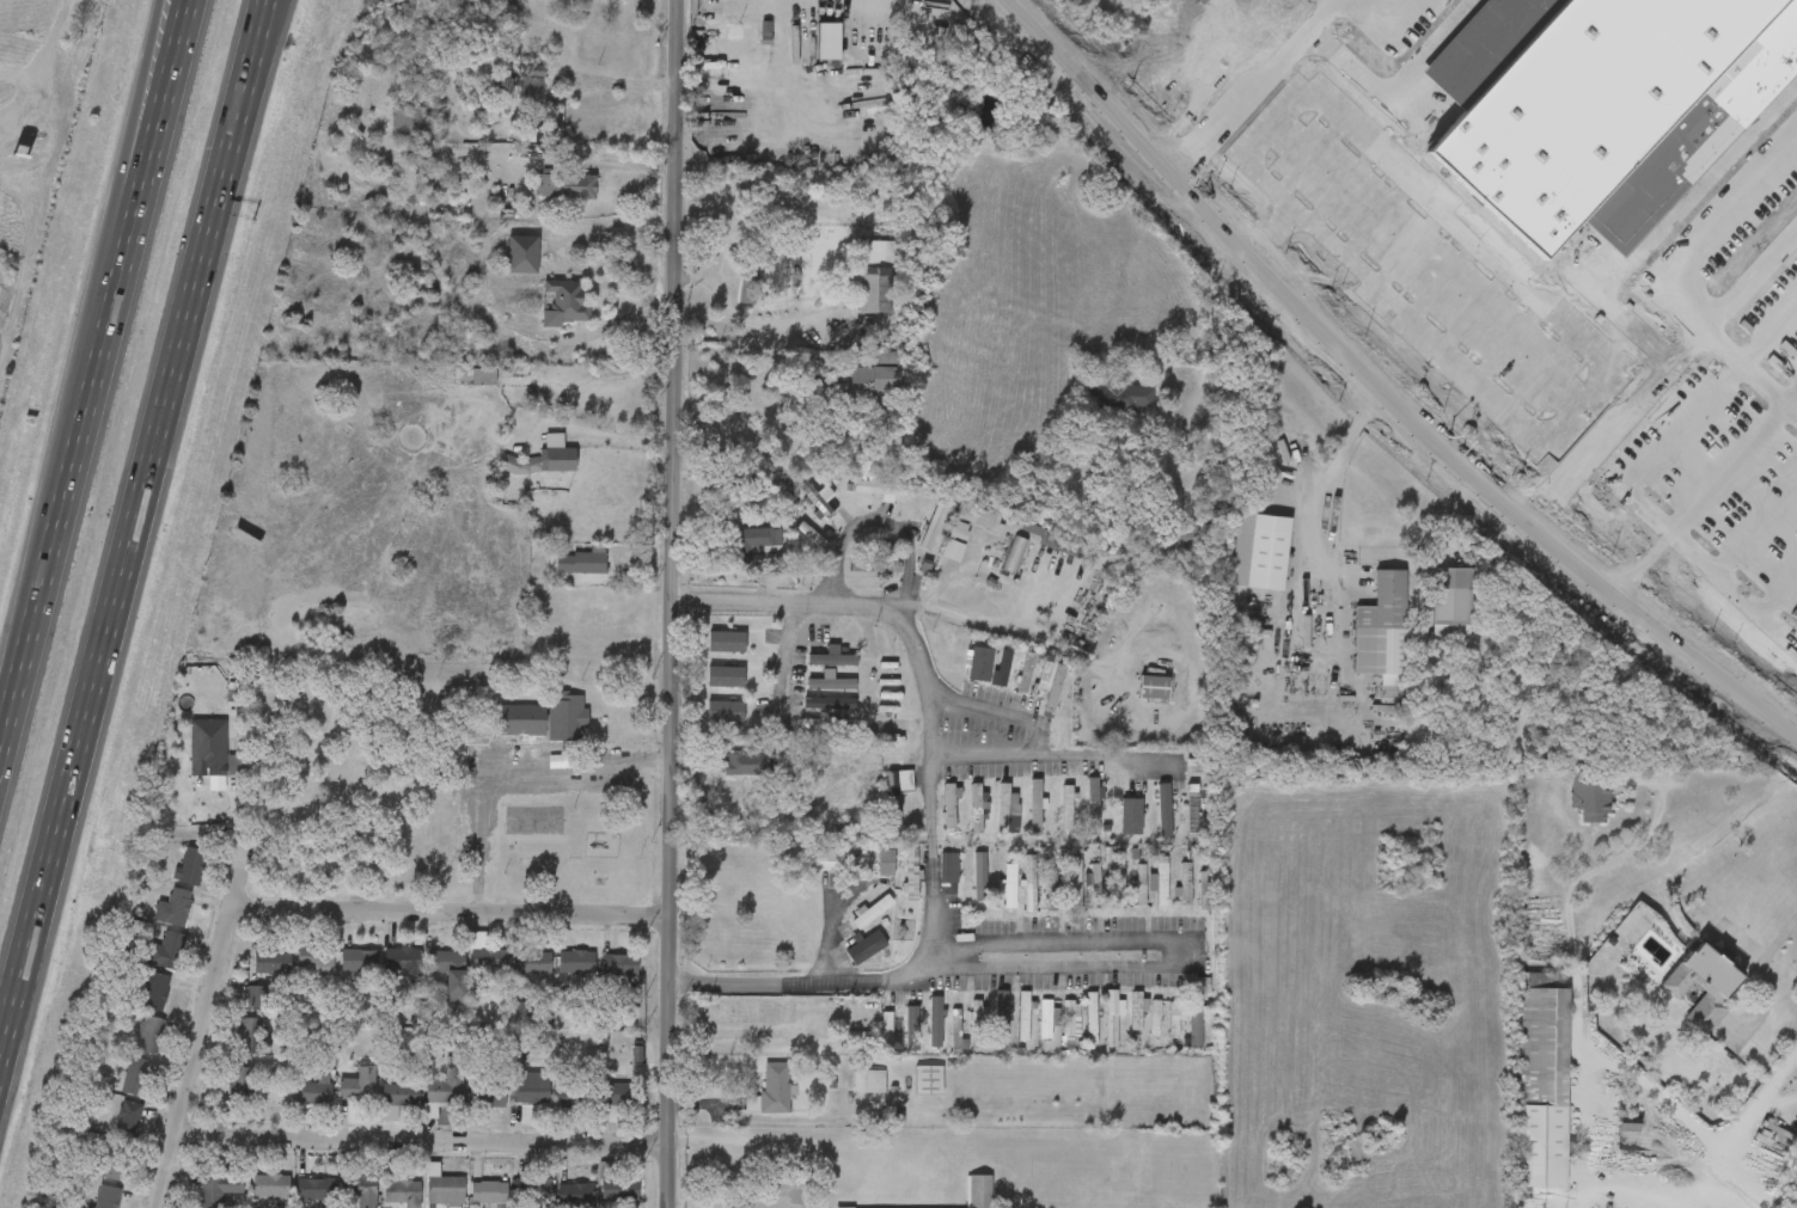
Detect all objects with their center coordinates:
building: (1535, 8)
road: (1315, 13)
road: (1367, 13)
road: (151, 36)
building: (829, 41)
building: (739, 50)
road: (41, 69)
building: (1732, 72)
road: (1388, 80)
building: (533, 82)
building: (1711, 92)
road: (1233, 98)
building: (408, 119)
road: (141, 127)
building: (1711, 147)
road: (1310, 158)
road: (124, 163)
building: (1688, 168)
building: (567, 185)
road: (1339, 186)
building: (1526, 191)
building: (1504, 211)
road: (1379, 221)
road: (1665, 223)
road: (1723, 240)
building: (1726, 245)
road: (1407, 247)
building: (522, 253)
road: (1594, 259)
building: (875, 276)
road: (1752, 277)
road: (1445, 282)
building: (747, 290)
road: (1538, 299)
building: (566, 302)
road: (1475, 311)
road: (1208, 321)
road: (751, 324)
road: (1512, 343)
road: (1691, 343)
road: (1750, 368)
road: (1545, 373)
building: (484, 375)
building: (882, 384)
road: (1380, 387)
building: (1119, 395)
building: (733, 418)
road: (609, 436)
road: (1601, 437)
building: (561, 458)
road: (1735, 464)
road: (1631, 474)
building: (879, 486)
road: (54, 490)
building: (818, 498)
road: (1451, 519)
road: (878, 520)
building: (973, 520)
road: (1322, 525)
road: (1756, 529)
road: (134, 532)
building: (1182, 535)
building: (754, 539)
building: (1063, 542)
building: (953, 550)
building: (1259, 551)
building: (1015, 553)
building: (583, 560)
building: (878, 562)
building: (1240, 569)
road: (1780, 594)
road: (786, 602)
road: (668, 603)
road: (978, 614)
building: (1431, 620)
building: (1386, 633)
building: (727, 642)
road: (787, 654)
building: (1365, 654)
building: (832, 657)
building: (982, 664)
building: (1002, 669)
building: (1026, 672)
building: (726, 676)
building: (1043, 677)
building: (831, 681)
building: (1057, 686)
building: (1154, 687)
road: (874, 691)
building: (829, 703)
road: (1014, 706)
building: (726, 711)
building: (566, 717)
building: (521, 720)
building: (827, 722)
building: (208, 747)
building: (830, 756)
road: (1033, 758)
building: (742, 764)
road: (518, 783)
road: (935, 787)
building: (897, 793)
building: (1093, 804)
building: (948, 807)
building: (1192, 808)
building: (1003, 809)
building: (1034, 809)
building: (1066, 809)
building: (974, 810)
building: (1163, 811)
building: (1570, 815)
building: (1127, 828)
building: (829, 859)
building: (886, 863)
building: (191, 865)
building: (861, 865)
building: (948, 869)
building: (911, 875)
building: (977, 878)
building: (1161, 881)
building: (1118, 883)
building: (1076, 884)
building: (1185, 884)
building: (1029, 885)
building: (1142, 885)
building: (1094, 887)
building: (1009, 889)
building: (1052, 889)
building: (1204, 891)
building: (178, 907)
road: (1570, 907)
road: (452, 910)
building: (872, 912)
road: (1779, 938)
road: (1053, 939)
building: (867, 948)
building: (169, 950)
building: (314, 956)
building: (403, 958)
building: (271, 959)
building: (359, 959)
building: (490, 961)
building: (576, 962)
building: (532, 963)
building: (621, 965)
building: (448, 970)
building: (1704, 982)
road: (803, 985)
building: (155, 992)
building: (255, 997)
building: (1682, 1002)
building: (1023, 1017)
building: (1155, 1017)
building: (1066, 1018)
building: (1090, 1018)
building: (1045, 1019)
building: (1111, 1019)
building: (1136, 1019)
building: (1174, 1020)
building: (977, 1022)
building: (1001, 1022)
building: (1194, 1023)
building: (923, 1028)
building: (886, 1031)
building: (955, 1031)
building: (149, 1035)
road: (198, 1035)
building: (252, 1035)
building: (858, 1038)
building: (136, 1075)
building: (929, 1080)
building: (240, 1081)
building: (869, 1081)
building: (772, 1085)
building: (1542, 1086)
building: (355, 1089)
building: (313, 1092)
building: (444, 1092)
building: (531, 1092)
building: (398, 1094)
building: (488, 1094)
building: (615, 1098)
building: (570, 1100)
road: (1583, 1100)
road: (1755, 1102)
road: (1773, 1102)
building: (128, 1118)
road: (421, 1139)
building: (1608, 1141)
building: (114, 1161)
road: (1688, 1177)
building: (270, 1185)
building: (359, 1186)
building: (442, 1186)
building: (617, 1186)
building: (221, 1188)
building: (533, 1189)
building: (314, 1190)
building: (979, 1190)
road: (1582, 1190)
building: (405, 1192)
building: (489, 1192)
building: (575, 1195)
building: (108, 1197)

